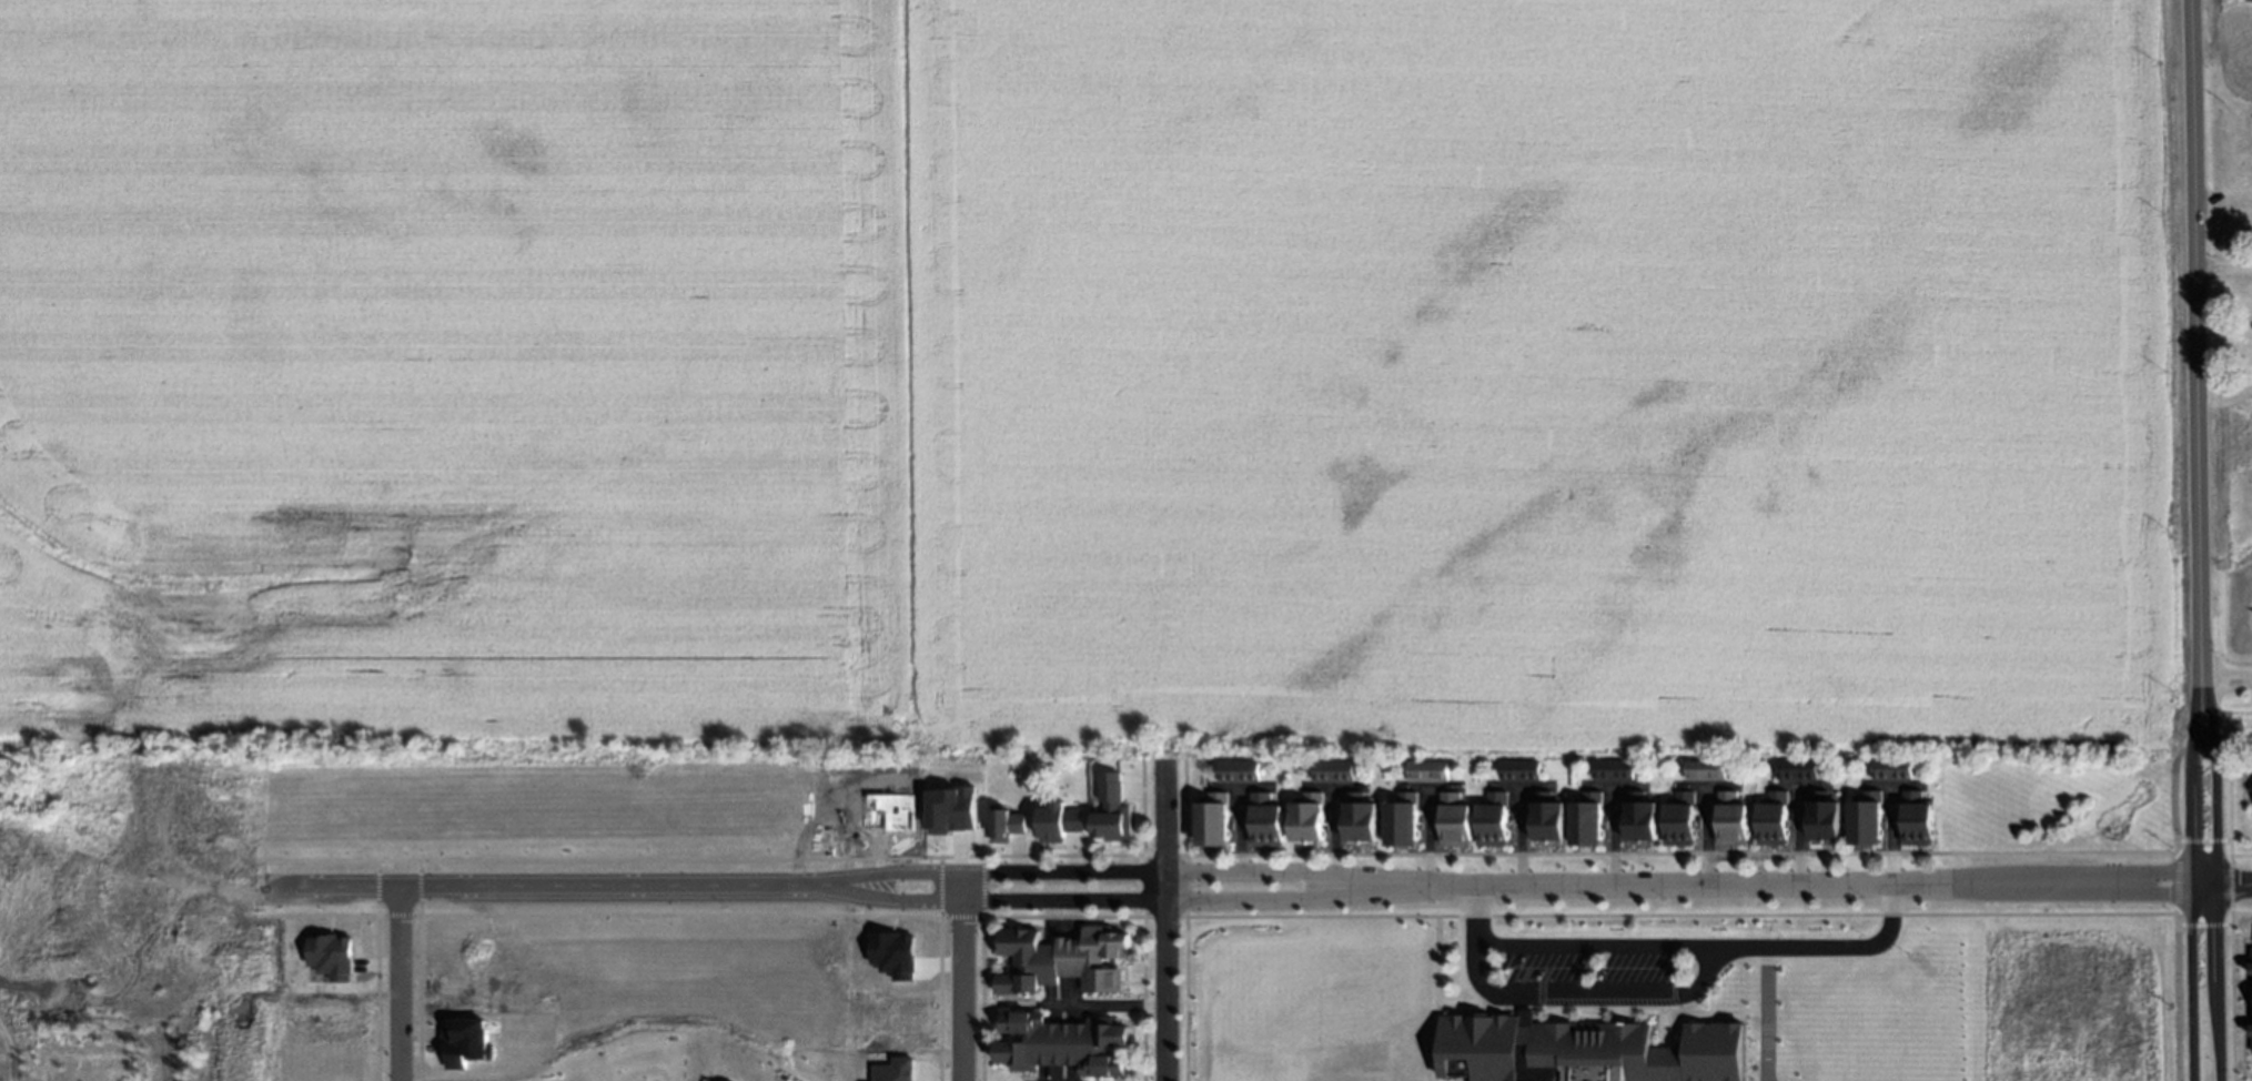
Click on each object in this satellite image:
road: (2222, 196)
road: (2223, 266)
road: (2195, 342)
road: (2228, 684)
building: (1891, 768)
building: (1705, 770)
building: (1798, 770)
building: (1610, 771)
building: (1426, 772)
building: (1518, 772)
building: (1332, 774)
building: (1236, 775)
road: (1701, 784)
road: (1794, 784)
road: (1889, 784)
road: (1421, 785)
road: (1610, 786)
road: (1331, 787)
road: (1518, 787)
road: (1240, 788)
building: (1111, 806)
building: (950, 810)
building: (1679, 816)
building: (1731, 816)
building: (1775, 817)
building: (1826, 818)
building: (1866, 818)
building: (1917, 818)
building: (1448, 819)
building: (1486, 819)
building: (1634, 819)
building: (1058, 820)
building: (1306, 820)
building: (1357, 820)
building: (1541, 820)
building: (1007, 821)
building: (1581, 821)
building: (1211, 822)
building: (1263, 822)
building: (1396, 822)
road: (1239, 830)
road: (1333, 831)
road: (1700, 835)
road: (1794, 835)
road: (1889, 835)
road: (1421, 836)
road: (1608, 836)
road: (1516, 837)
road: (2076, 869)
road: (1109, 873)
road: (2170, 878)
road: (2191, 881)
road: (2215, 881)
road: (2221, 885)
road: (1678, 886)
road: (421, 887)
road: (2077, 897)
road: (1109, 901)
road: (1162, 921)
road: (169, 923)
road: (1674, 950)
building: (893, 956)
building: (332, 957)
building: (1062, 957)
building: (2251, 966)
road: (963, 977)
road: (401, 984)
road: (1589, 993)
road: (1068, 1008)
building: (1060, 1042)
building: (466, 1043)
building: (1596, 1051)
building: (2251, 1051)
building: (896, 1070)

